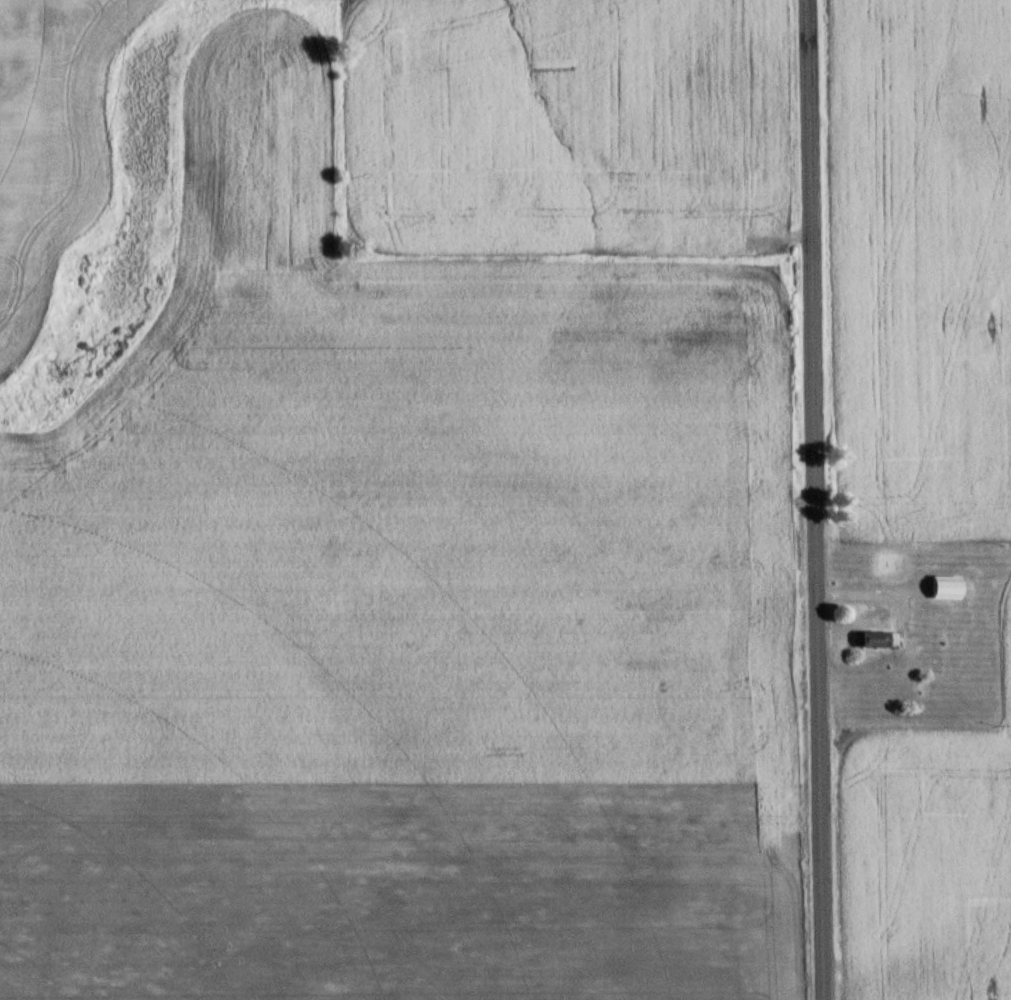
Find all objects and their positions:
road: (816, 500)
building: (948, 587)
building: (873, 639)

